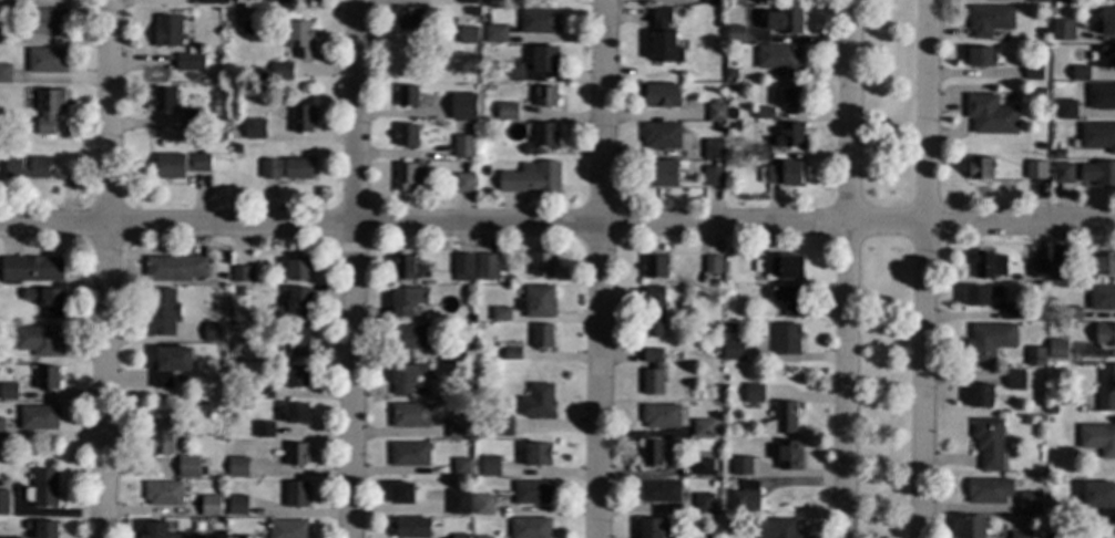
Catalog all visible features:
building: (212, 1)
building: (275, 1)
building: (468, 1)
building: (1039, 1)
building: (1063, 1)
building: (1, 2)
building: (713, 2)
building: (737, 2)
building: (408, 19)
building: (539, 20)
building: (989, 20)
building: (1107, 20)
building: (49, 21)
building: (467, 21)
building: (785, 21)
building: (720, 24)
building: (1063, 30)
building: (166, 31)
building: (0, 33)
building: (494, 33)
building: (736, 33)
building: (468, 35)
building: (664, 35)
building: (299, 38)
building: (980, 56)
building: (1105, 56)
building: (545, 59)
building: (779, 59)
building: (47, 60)
building: (190, 62)
building: (283, 71)
building: (1033, 71)
building: (511, 72)
building: (4, 73)
building: (732, 73)
building: (1081, 73)
building: (258, 74)
building: (661, 94)
building: (407, 96)
building: (545, 96)
building: (789, 96)
building: (1102, 96)
building: (162, 100)
building: (722, 100)
building: (463, 106)
building: (48, 108)
building: (1065, 108)
building: (1053, 111)
building: (447, 112)
building: (716, 112)
building: (732, 113)
building: (764, 113)
building: (512, 114)
building: (990, 115)
building: (301, 118)
building: (192, 120)
building: (492, 125)
building: (718, 125)
building: (735, 126)
building: (254, 128)
building: (406, 135)
building: (664, 135)
building: (790, 135)
building: (1098, 136)
building: (542, 137)
building: (737, 139)
building: (463, 146)
building: (236, 148)
building: (703, 148)
building: (713, 148)
building: (749, 152)
building: (761, 152)
building: (1057, 153)
building: (715, 163)
building: (180, 165)
building: (286, 167)
building: (27, 168)
building: (980, 168)
building: (484, 169)
building: (1035, 169)
building: (1062, 173)
building: (1098, 173)
building: (659, 174)
building: (781, 174)
building: (408, 175)
building: (714, 176)
building: (532, 177)
building: (729, 177)
building: (463, 183)
building: (249, 195)
road: (557, 223)
building: (428, 263)
building: (542, 263)
building: (713, 263)
building: (986, 263)
building: (1102, 263)
building: (487, 266)
building: (654, 266)
building: (779, 266)
building: (462, 267)
building: (174, 268)
building: (298, 268)
building: (407, 268)
building: (31, 269)
road: (108, 269)
road: (356, 269)
road: (602, 269)
road: (847, 269)
road: (924, 269)
building: (1036, 269)
building: (1057, 271)
building: (238, 273)
building: (239, 291)
building: (982, 296)
building: (788, 298)
building: (1103, 298)
building: (45, 300)
building: (408, 301)
building: (536, 301)
building: (295, 304)
building: (654, 311)
building: (161, 312)
building: (1012, 312)
building: (500, 313)
building: (1072, 313)
building: (728, 328)
building: (213, 332)
building: (239, 333)
building: (1105, 334)
building: (541, 335)
building: (412, 338)
building: (786, 339)
building: (38, 340)
building: (297, 340)
building: (989, 341)
building: (1057, 349)
building: (733, 350)
building: (459, 351)
building: (715, 353)
building: (509, 354)
building: (1035, 356)
building: (170, 364)
building: (469, 368)
building: (652, 372)
building: (296, 375)
building: (405, 376)
building: (47, 379)
building: (1015, 380)
building: (1107, 387)
building: (263, 389)
building: (8, 391)
building: (754, 393)
building: (981, 396)
building: (536, 401)
building: (203, 406)
building: (1051, 410)
building: (294, 413)
building: (410, 414)
building: (659, 415)
building: (38, 417)
building: (784, 417)
building: (459, 424)
building: (502, 425)
building: (0, 427)
building: (703, 427)
building: (263, 430)
building: (487, 431)
building: (162, 438)
building: (1098, 438)
building: (990, 443)
building: (652, 453)
building: (296, 454)
building: (409, 454)
building: (538, 454)
building: (706, 454)
building: (789, 455)
building: (741, 465)
building: (188, 466)
building: (238, 466)
building: (460, 466)
building: (490, 466)
building: (703, 467)
building: (715, 473)
building: (714, 484)
building: (44, 488)
building: (659, 490)
building: (532, 492)
building: (988, 492)
building: (163, 493)
building: (401, 493)
building: (296, 494)
building: (745, 497)
building: (1102, 499)
building: (458, 501)
building: (3, 503)
building: (703, 503)
building: (1030, 503)
building: (237, 505)
building: (483, 505)
building: (211, 506)
building: (712, 521)
building: (411, 527)
building: (972, 527)
building: (530, 528)
building: (656, 528)
building: (774, 528)
building: (43, 529)
building: (287, 529)
building: (156, 530)
building: (1021, 535)
building: (460, 536)
building: (1054, 536)
building: (10, 537)
building: (204, 537)
building: (227, 537)
building: (242, 537)
building: (482, 537)

